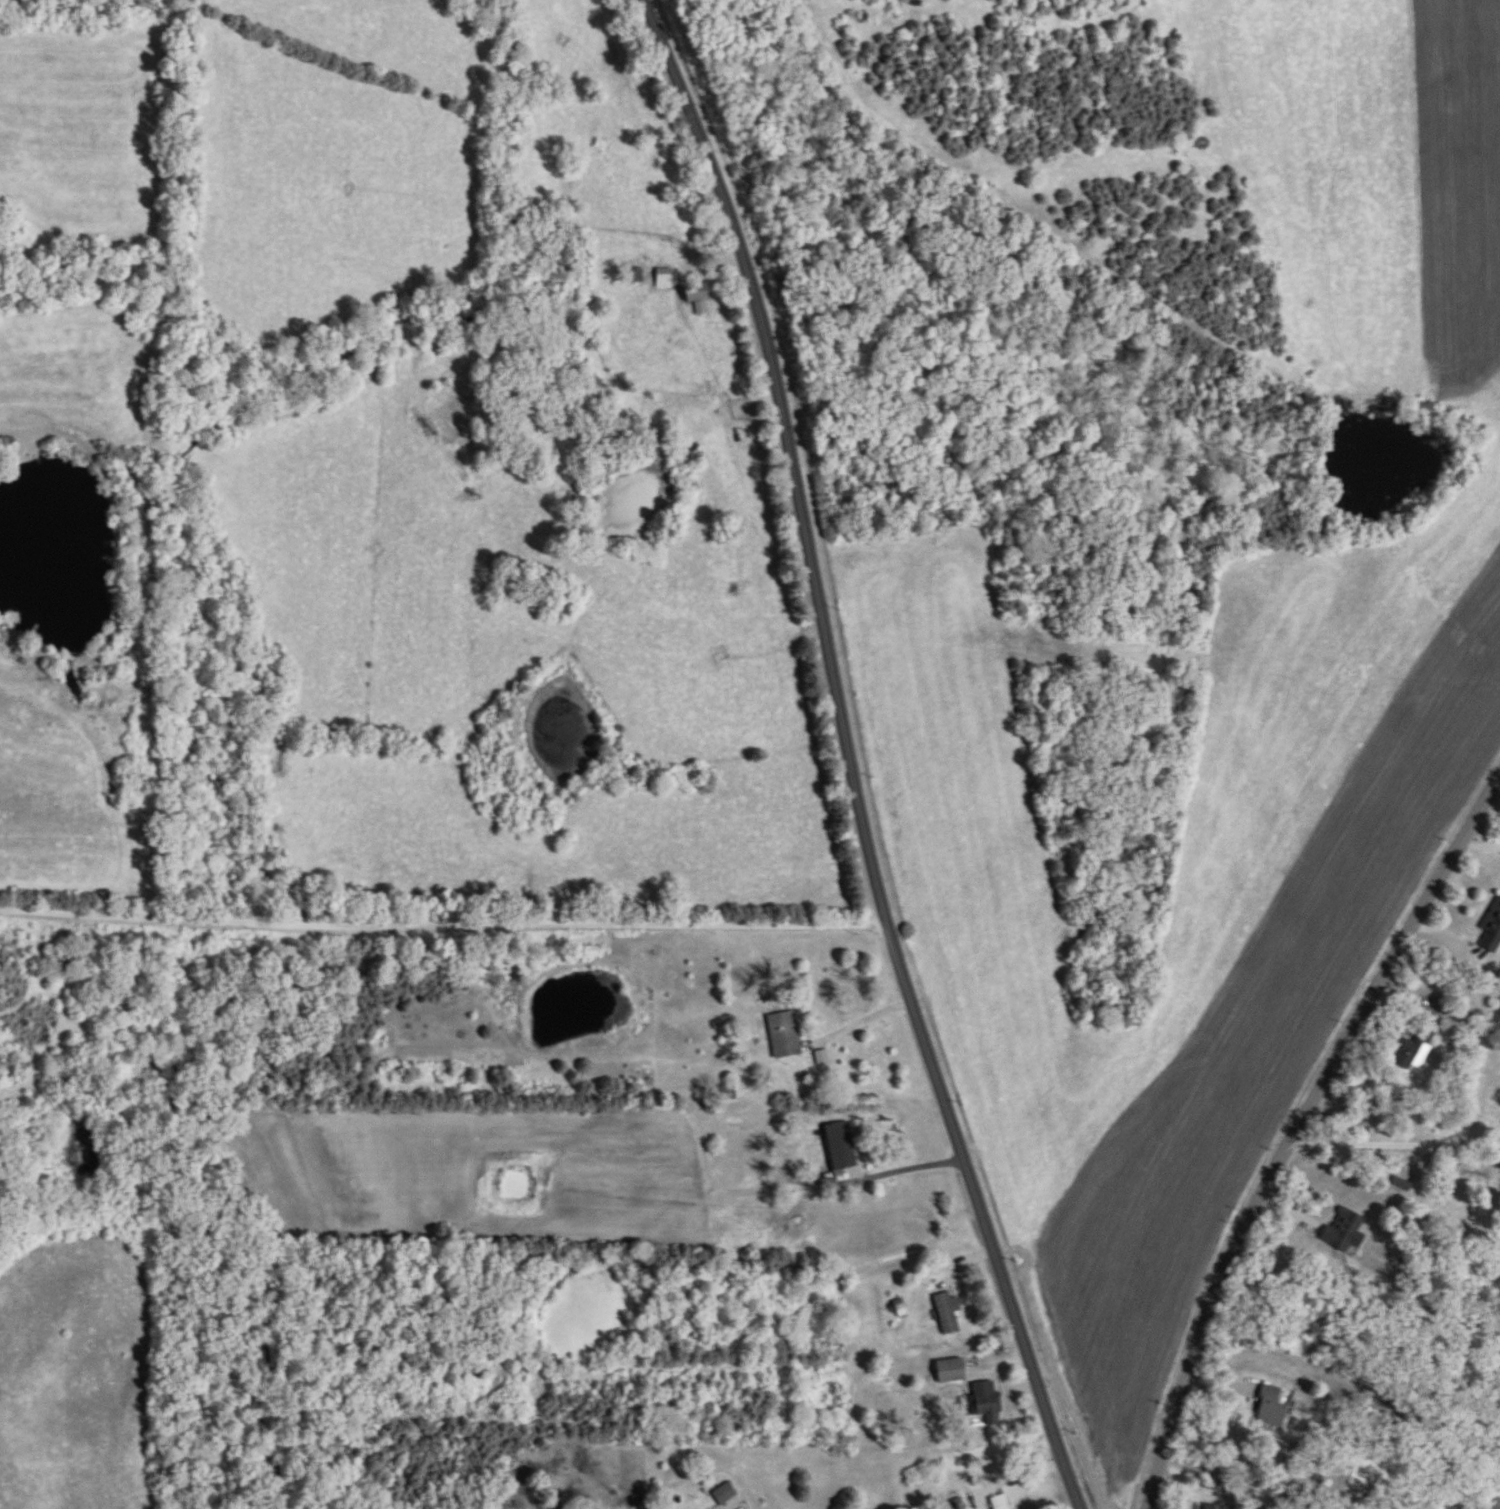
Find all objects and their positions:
road: (1247, 187)
building: (633, 275)
building: (664, 279)
building: (695, 294)
road: (680, 316)
building: (695, 454)
road: (849, 757)
road: (1479, 846)
road: (444, 923)
building: (1492, 932)
road: (846, 1028)
building: (784, 1036)
building: (728, 1094)
building: (668, 1125)
road: (1295, 1132)
road: (1393, 1145)
building: (839, 1147)
road: (809, 1179)
building: (1344, 1232)
building: (948, 1312)
road: (790, 1361)
building: (950, 1371)
building: (983, 1403)
building: (1270, 1407)
road: (977, 1471)
building: (724, 1495)
building: (1000, 1502)

